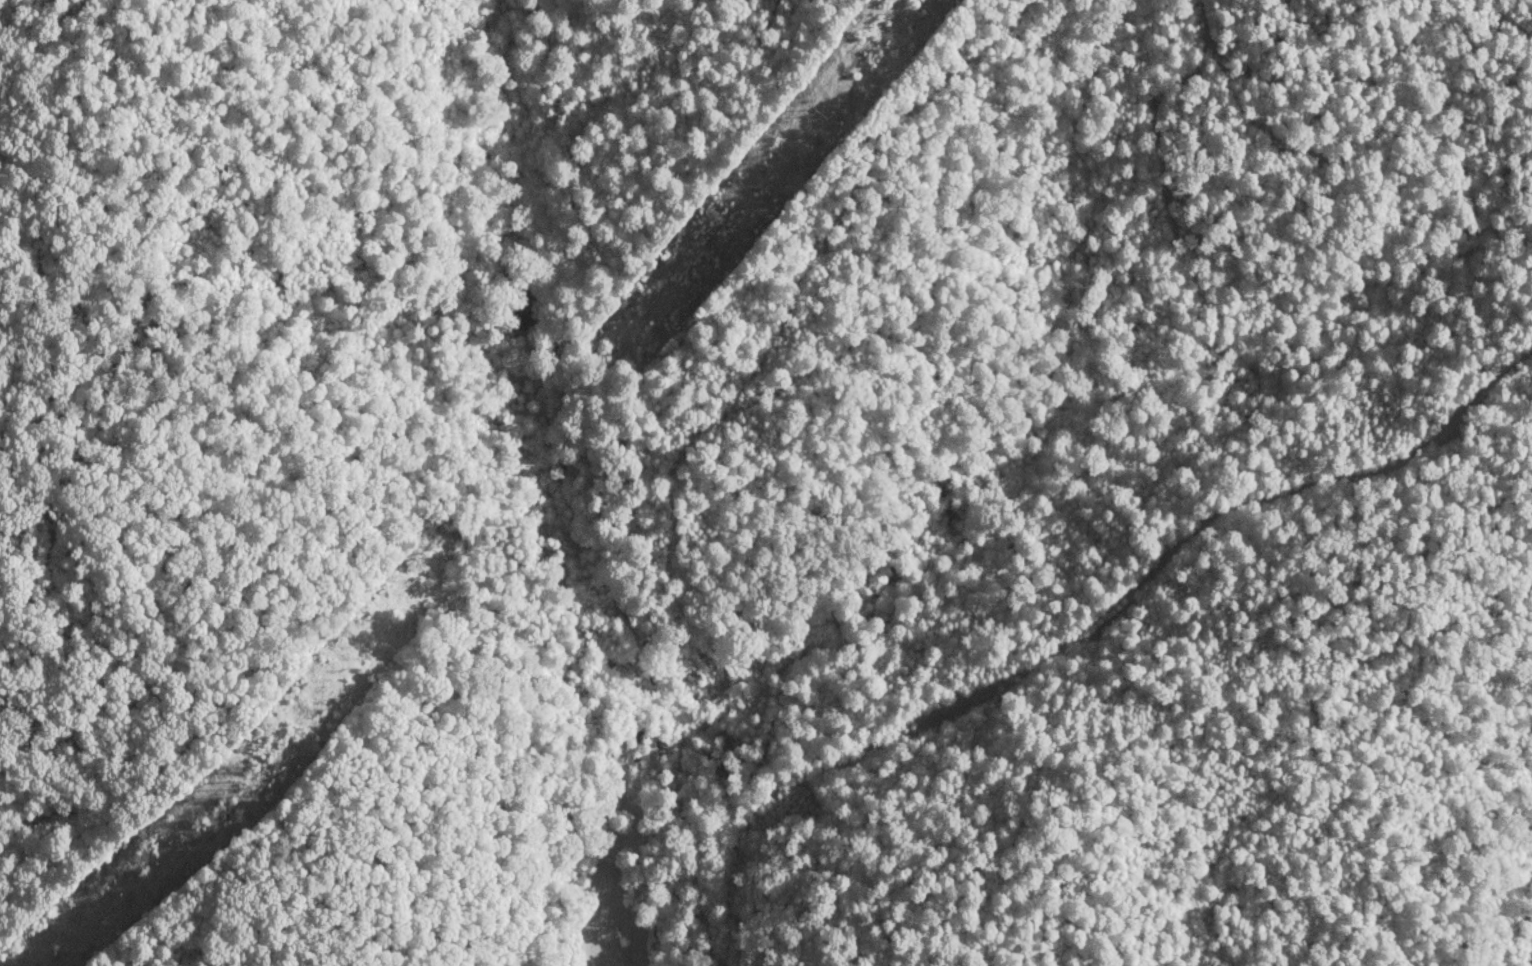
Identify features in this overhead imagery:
power tower: (809, 111)
power tower: (235, 788)
road: (689, 865)

